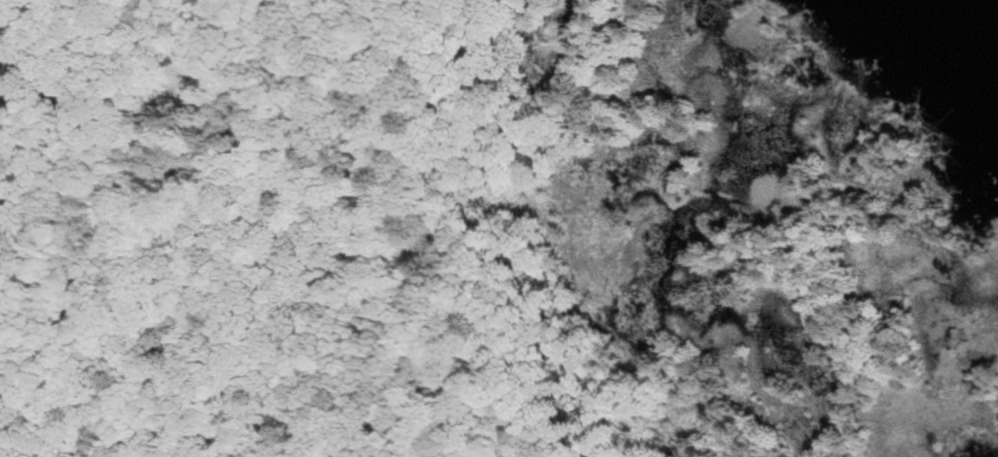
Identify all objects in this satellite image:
park: (483, 234)

